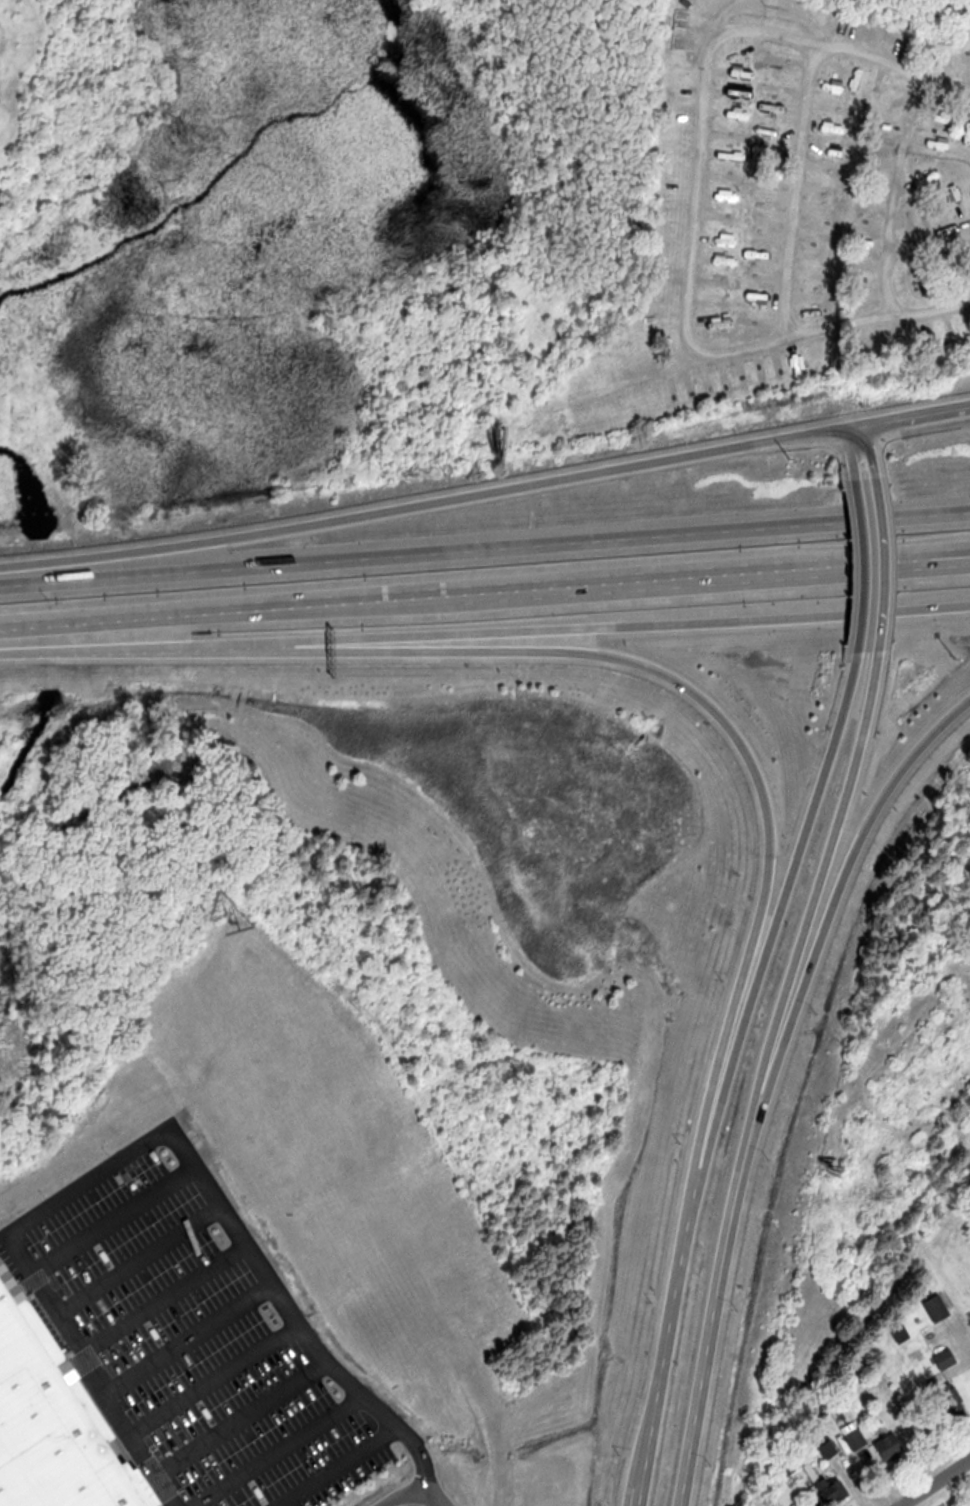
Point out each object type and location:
road: (945, 81)
road: (795, 187)
road: (928, 237)
building: (968, 251)
road: (688, 306)
road: (931, 307)
building: (867, 339)
road: (876, 456)
road: (855, 457)
road: (485, 496)
building: (869, 497)
road: (485, 551)
road: (871, 571)
road: (891, 571)
road: (484, 595)
road: (485, 632)
road: (640, 662)
road: (845, 872)
road: (722, 1075)
road: (768, 1077)
road: (131, 1135)
building: (129, 1146)
building: (948, 1357)
building: (955, 1404)
building: (52, 1422)
building: (893, 1447)
road: (932, 1481)
building: (841, 1492)
road: (404, 1499)

